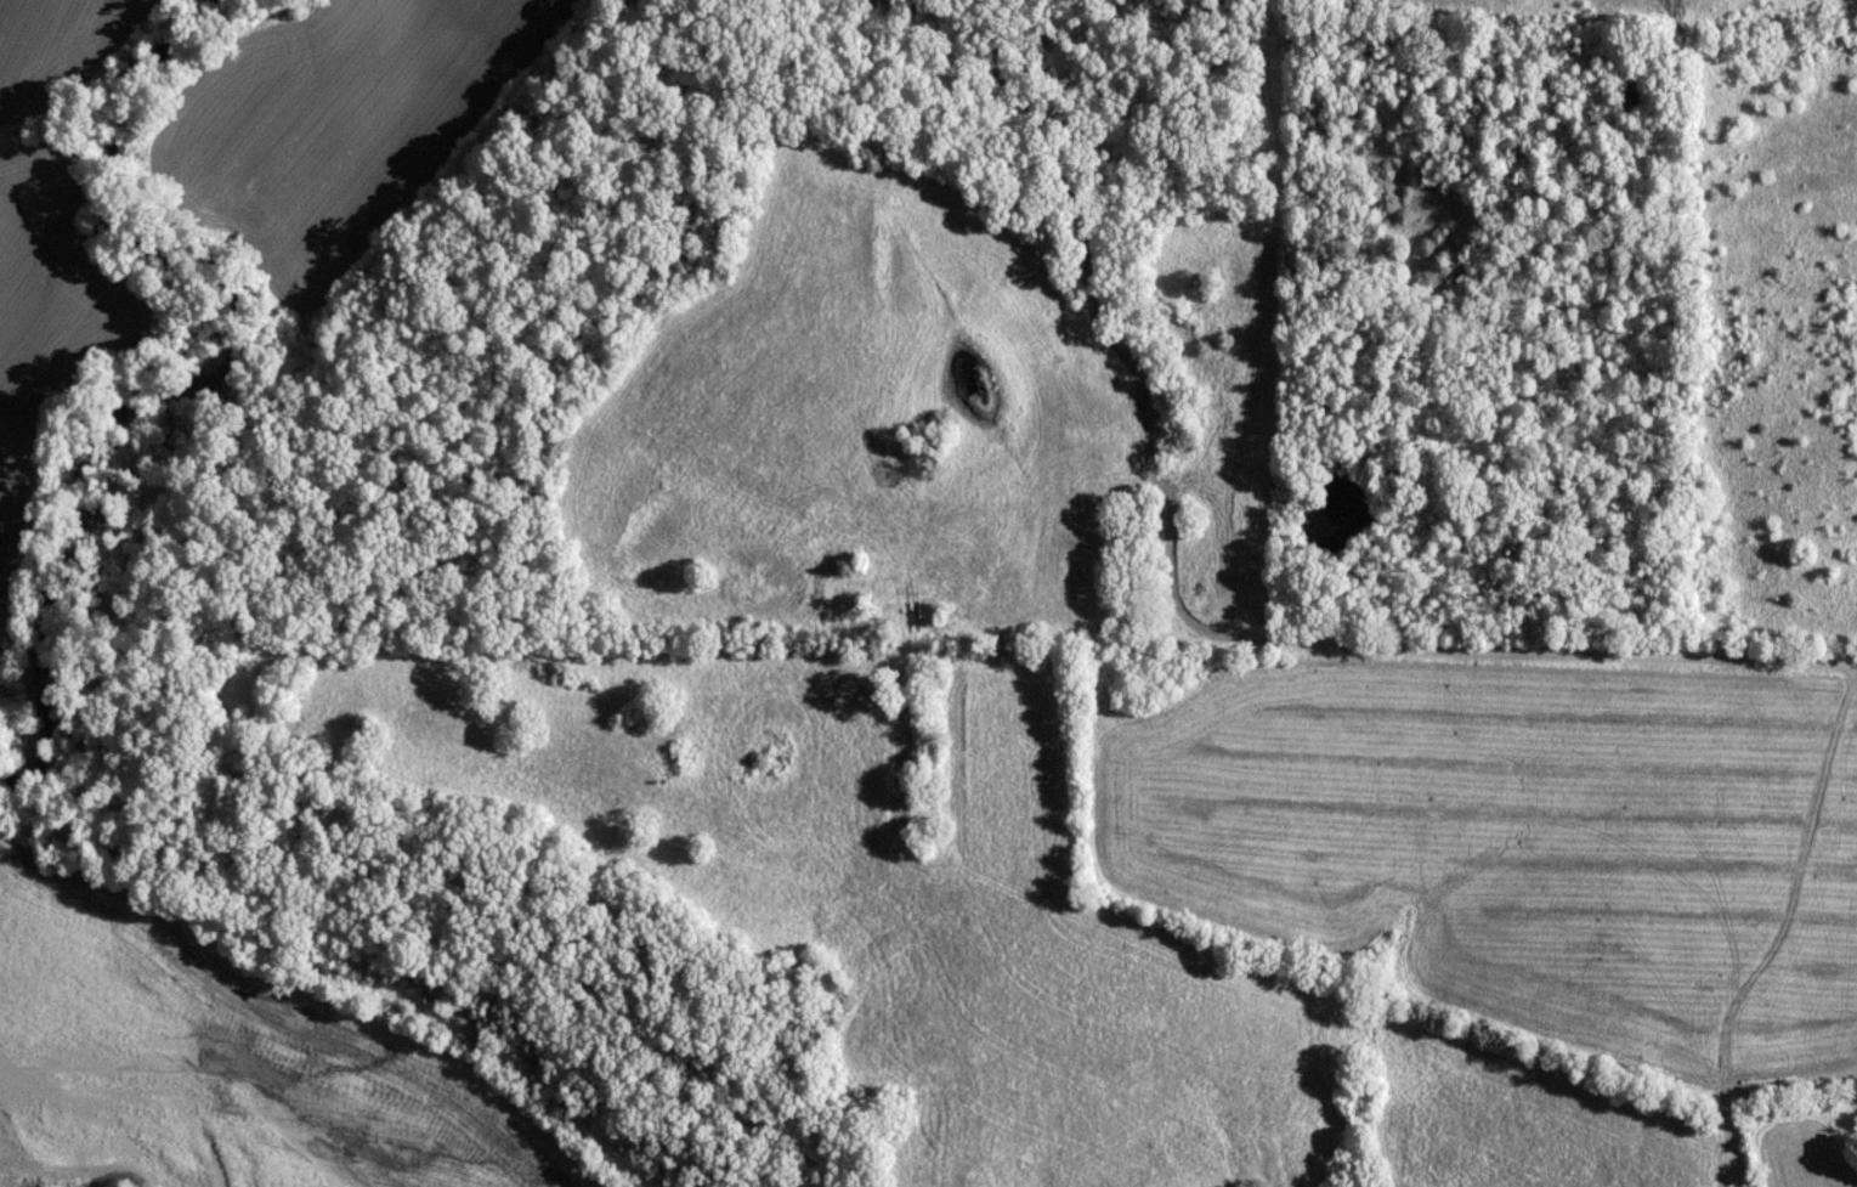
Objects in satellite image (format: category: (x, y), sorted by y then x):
road: (1595, 656)

